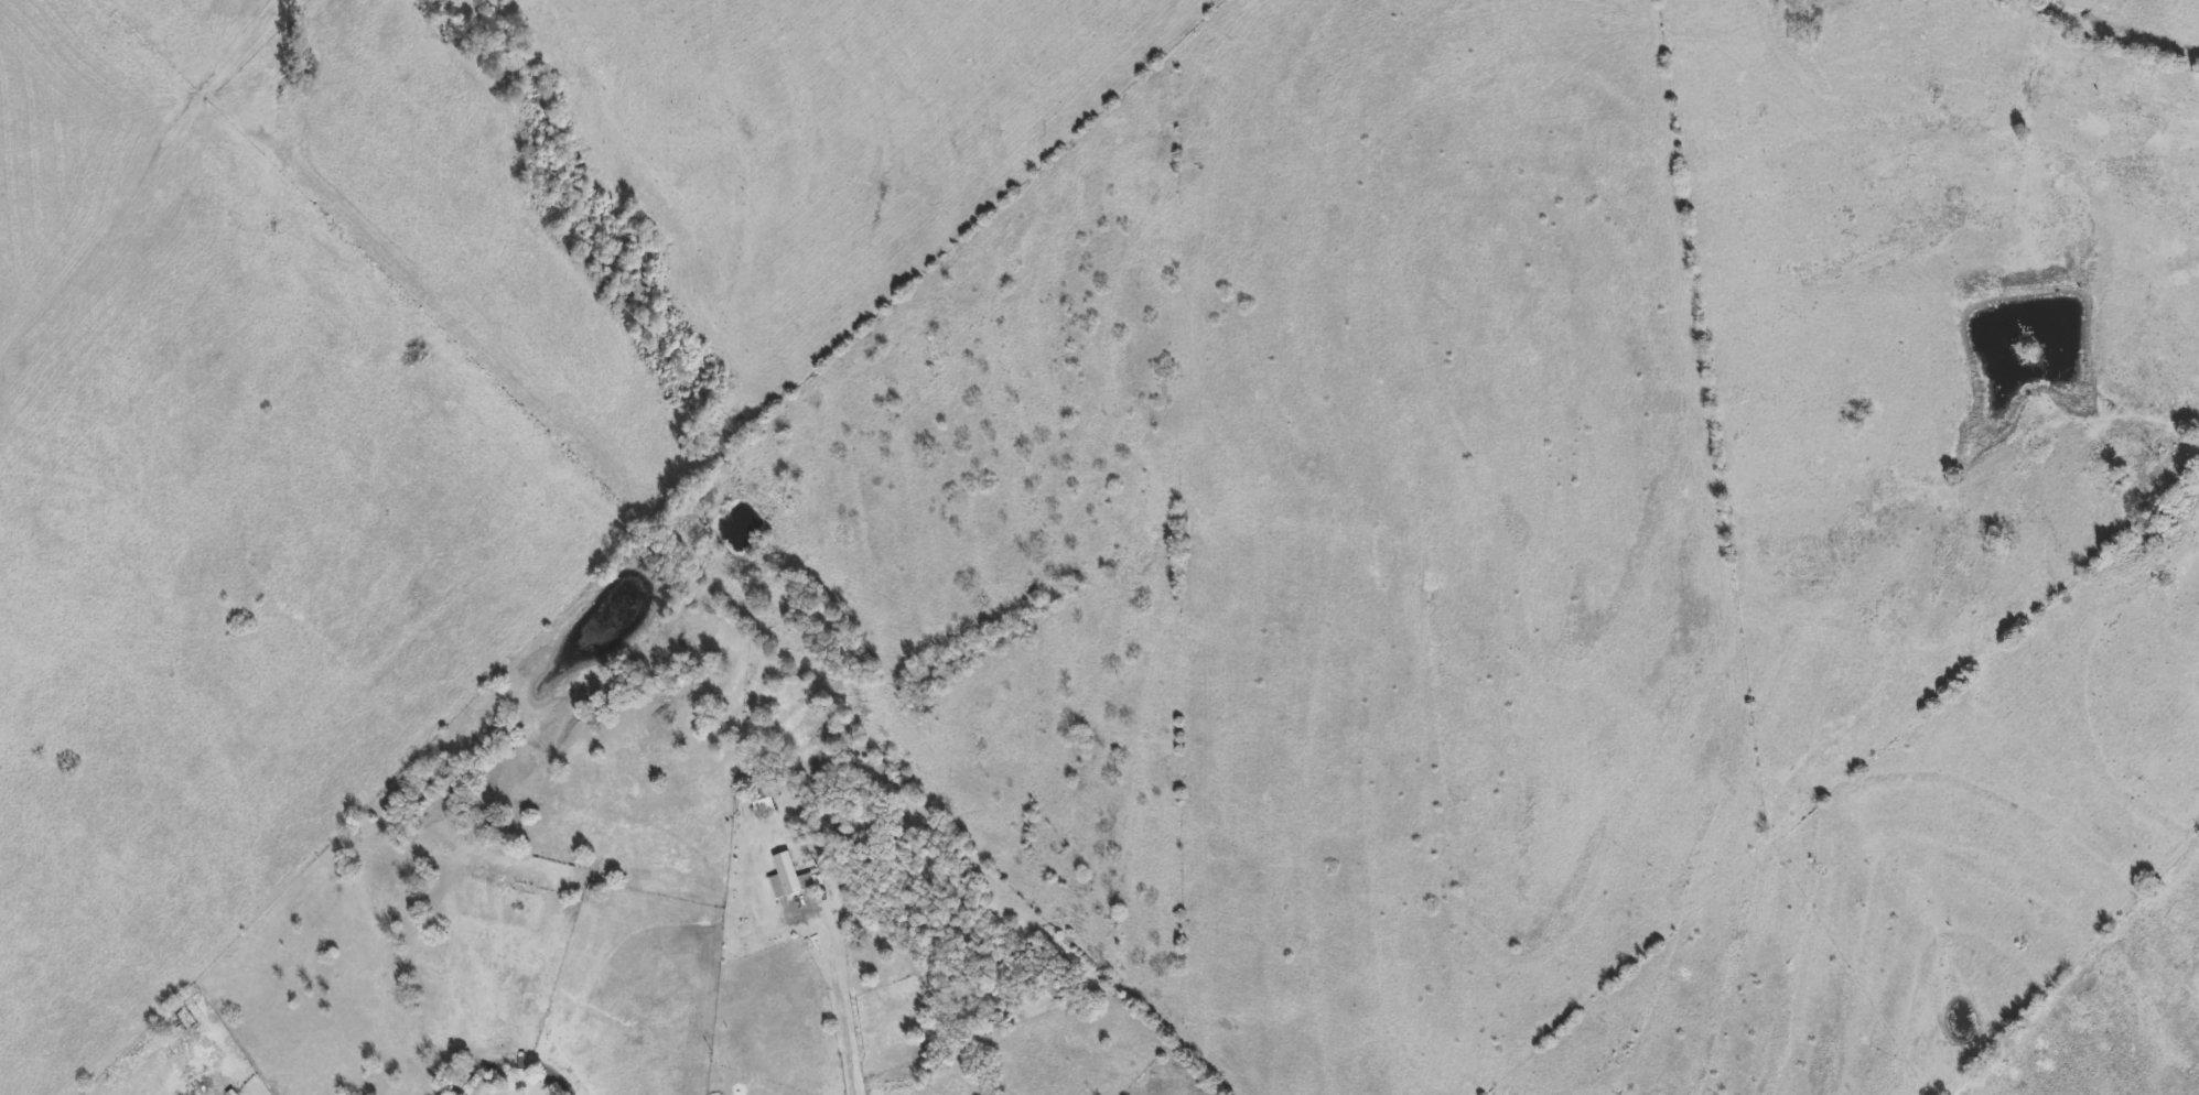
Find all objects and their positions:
building: (761, 794)
building: (788, 874)
building: (521, 888)
building: (757, 964)
road: (844, 1009)

